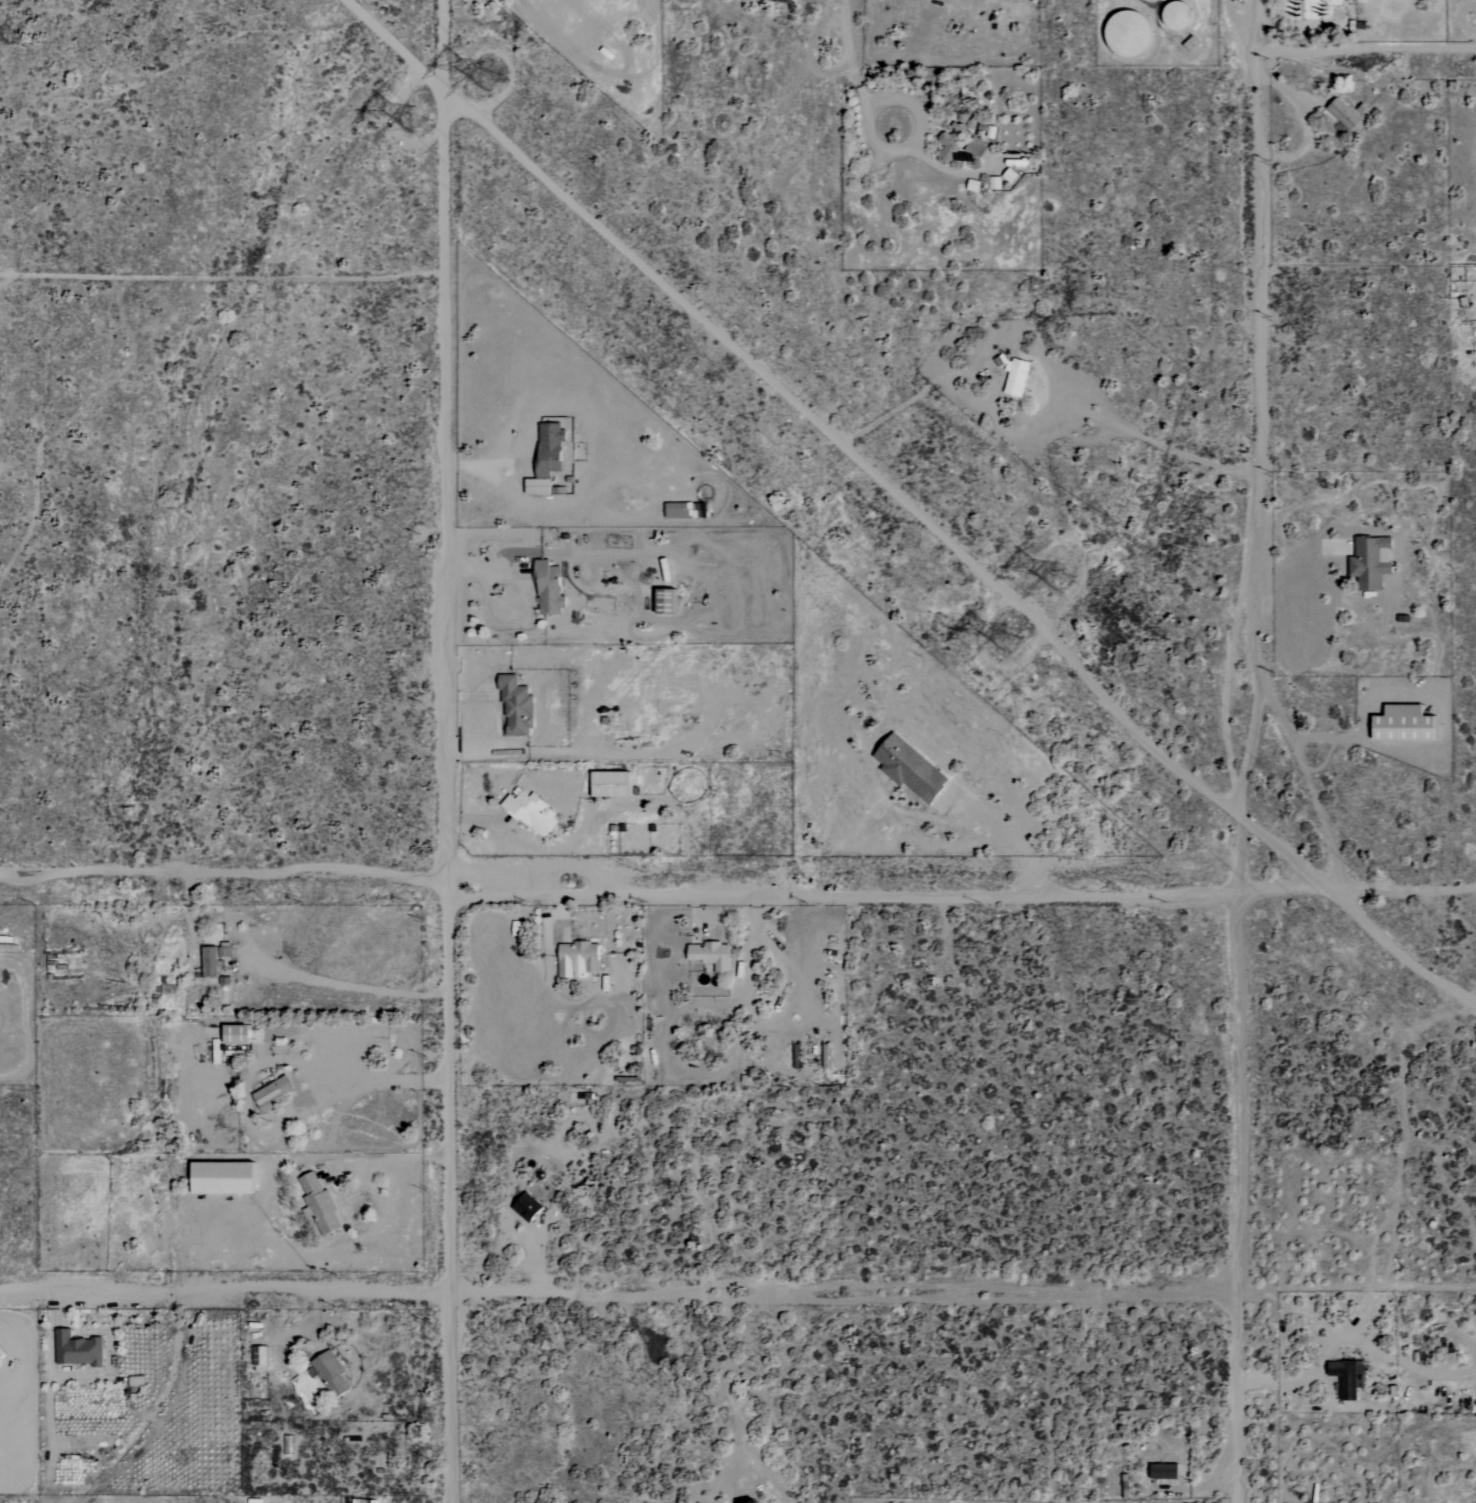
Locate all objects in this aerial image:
building: (1310, 9)
building: (1189, 44)
road: (1366, 48)
road: (811, 52)
road: (851, 57)
power tower: (494, 83)
road: (875, 109)
building: (1341, 114)
power tower: (416, 118)
road: (1303, 125)
building: (961, 135)
building: (1009, 175)
building: (994, 183)
road: (646, 266)
building: (1013, 376)
road: (1040, 417)
building: (544, 457)
road: (488, 465)
building: (682, 511)
building: (1369, 562)
power tower: (1057, 563)
road: (488, 568)
road: (1314, 569)
building: (546, 589)
building: (661, 600)
road: (1047, 630)
power tower: (1016, 646)
road: (502, 661)
road: (480, 693)
building: (514, 708)
building: (1400, 723)
road: (448, 751)
road: (1249, 751)
building: (907, 768)
road: (1306, 781)
building: (607, 783)
building: (528, 812)
road: (479, 819)
road: (1004, 845)
road: (737, 893)
road: (1357, 918)
building: (708, 955)
building: (575, 959)
road: (352, 985)
building: (232, 1034)
road: (383, 1083)
building: (270, 1095)
road: (400, 1159)
building: (217, 1178)
building: (317, 1204)
building: (525, 1207)
road: (617, 1295)
building: (75, 1349)
building: (327, 1373)
building: (1346, 1377)
building: (1162, 1471)
building: (749, 1501)

